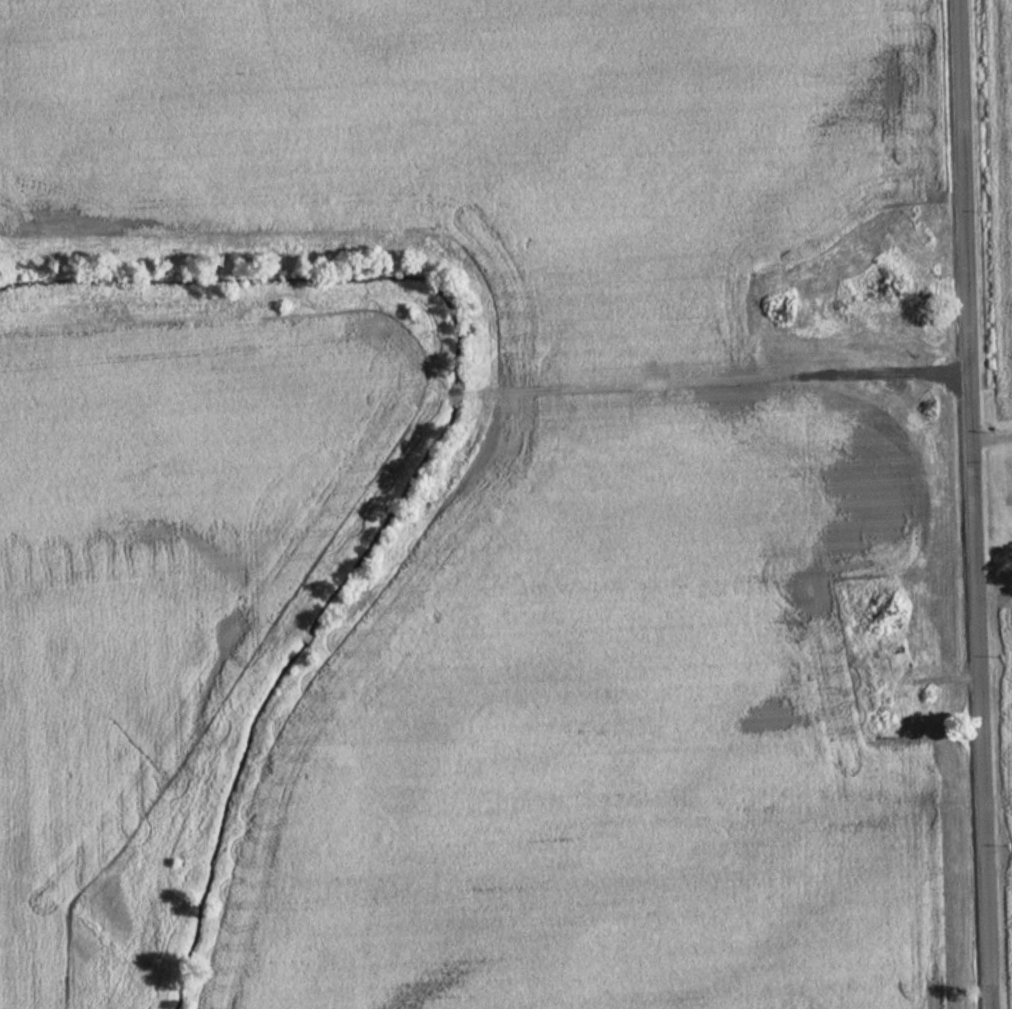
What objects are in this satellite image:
road: (976, 504)

